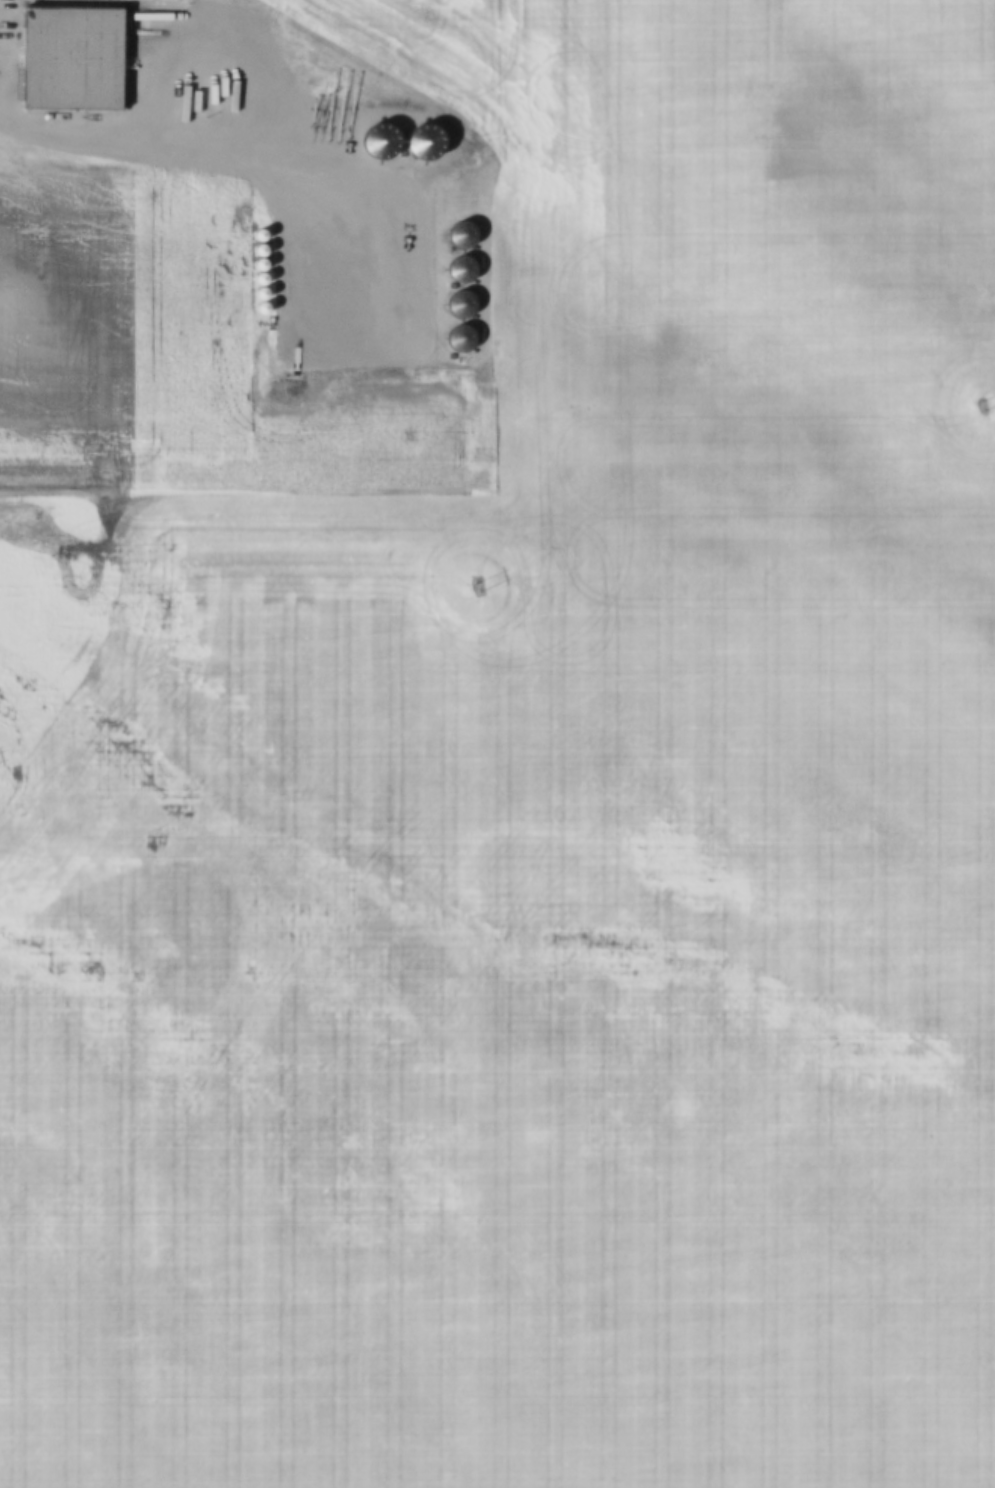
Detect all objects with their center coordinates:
building: (67, 52)
building: (375, 141)
silo: (375, 141)
building: (419, 141)
silo: (419, 141)
building: (397, 153)
building: (457, 235)
silo: (457, 235)
building: (457, 269)
silo: (457, 269)
building: (456, 304)
silo: (456, 304)
building: (456, 338)
silo: (456, 338)
building: (448, 357)

